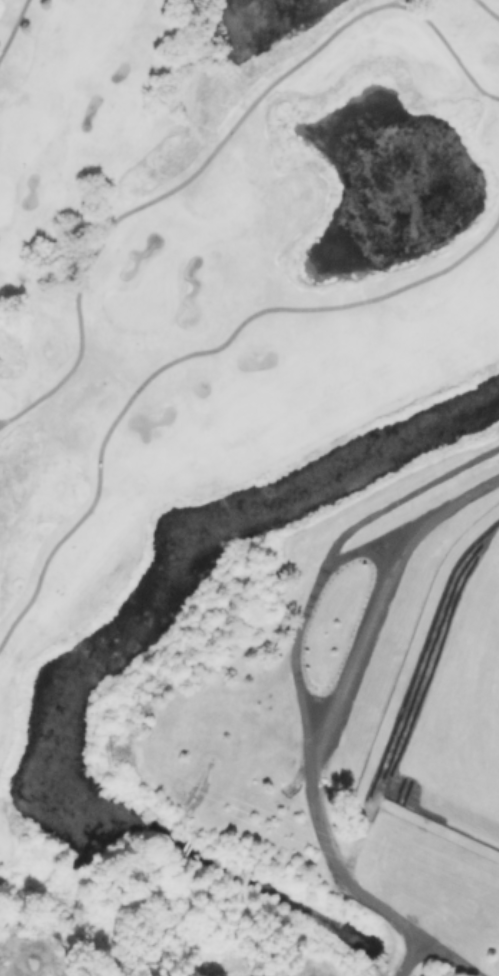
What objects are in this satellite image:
road: (488, 10)
road: (12, 26)
road: (217, 144)
park: (210, 327)
road: (186, 353)
road: (403, 493)
road: (303, 618)
stadium: (338, 705)
road: (331, 718)
road: (448, 956)

